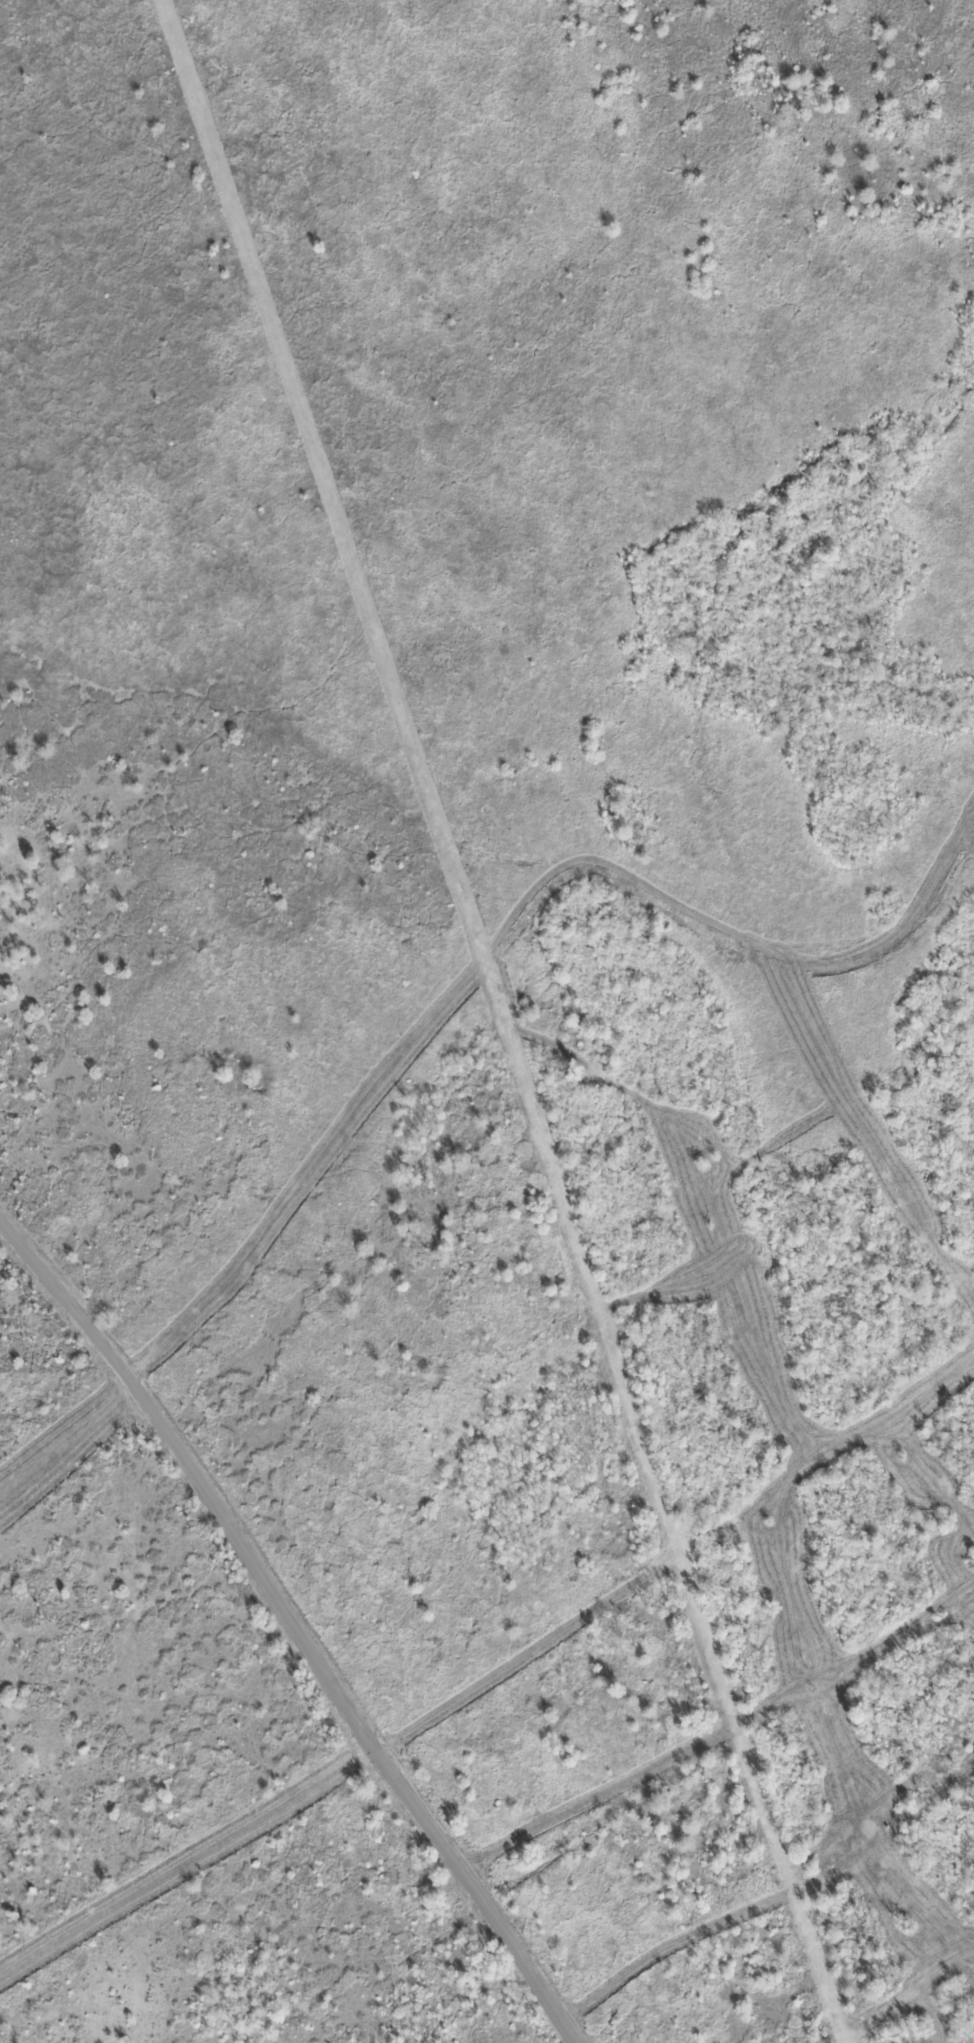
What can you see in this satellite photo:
road: (677, 1558)
road: (297, 1622)

